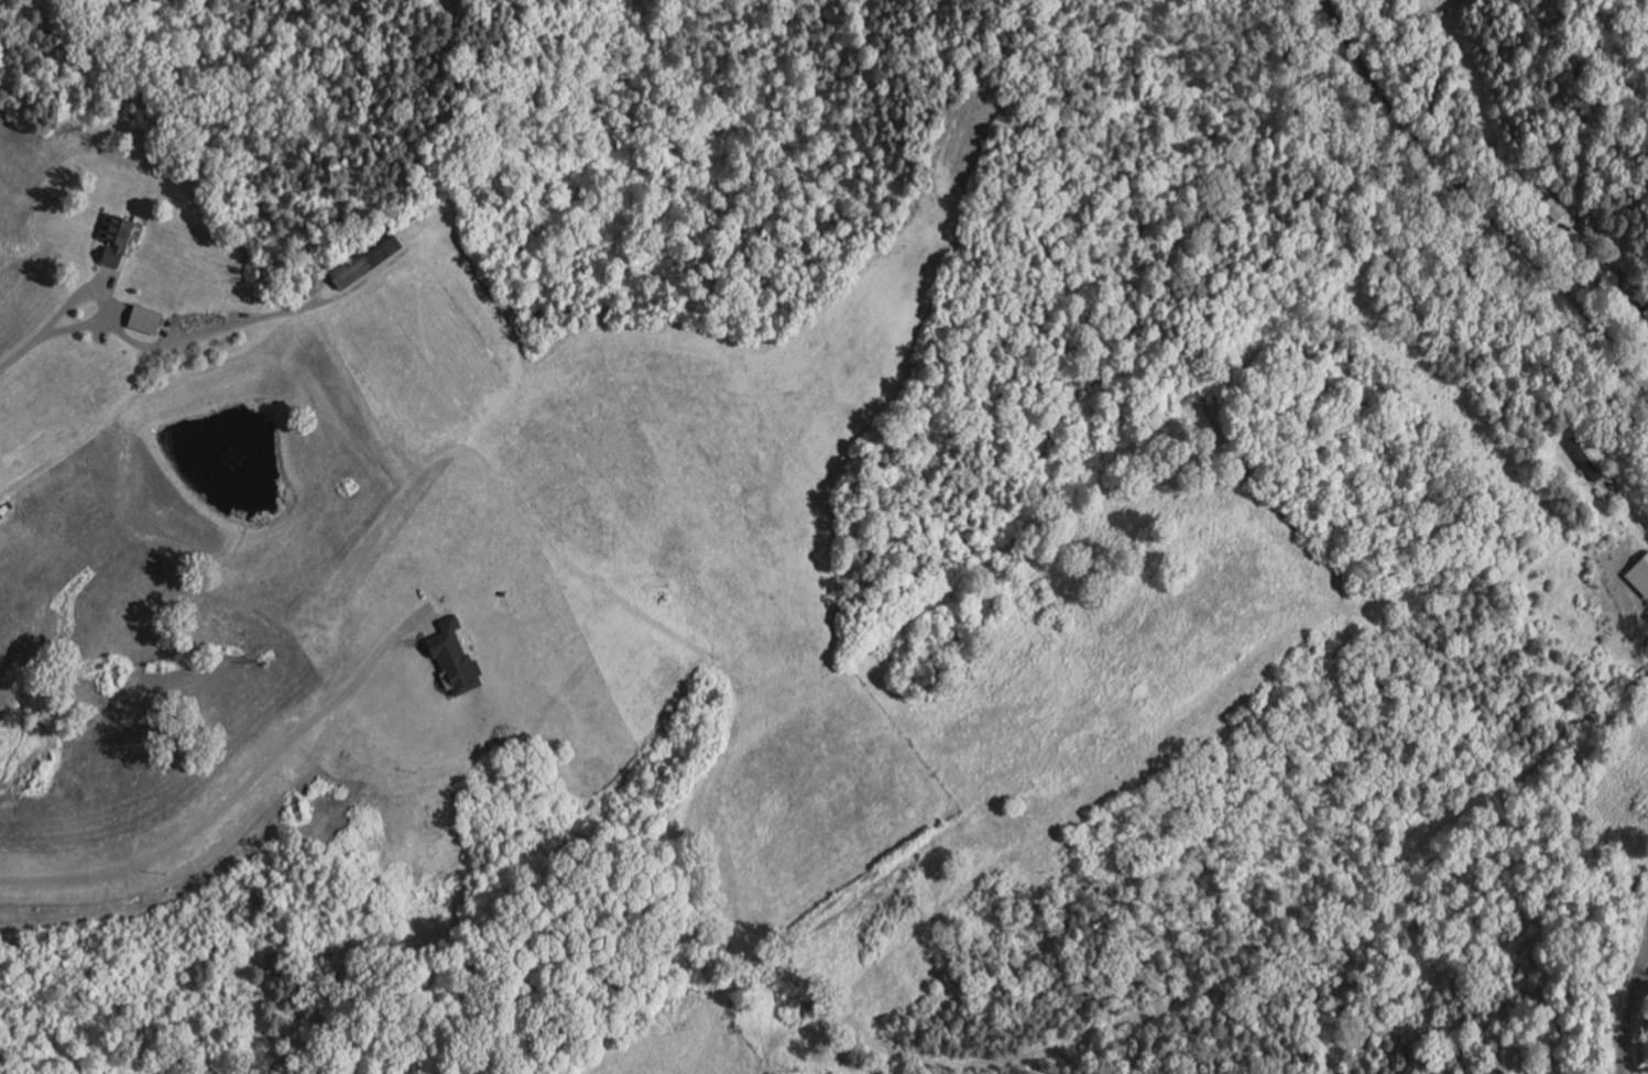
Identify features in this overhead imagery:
road: (1477, 201)
building: (1556, 207)
building: (112, 239)
building: (363, 259)
road: (102, 278)
road: (1627, 281)
road: (1601, 282)
road: (108, 296)
road: (118, 314)
road: (255, 318)
building: (143, 320)
road: (20, 352)
road: (143, 394)
building: (1583, 458)
road: (1627, 507)
building: (1638, 573)
building: (451, 658)
road: (242, 786)
road: (1628, 1006)

